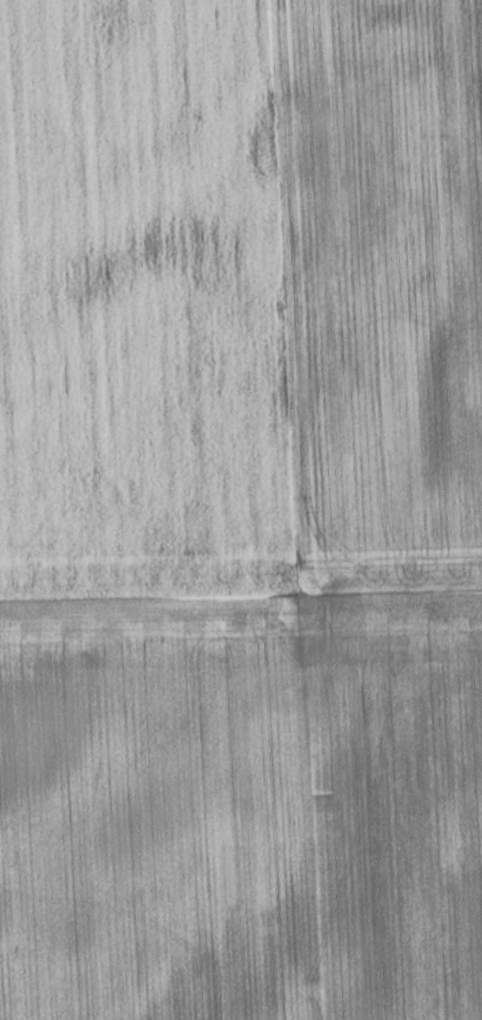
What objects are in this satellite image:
crop: (241, 510)

